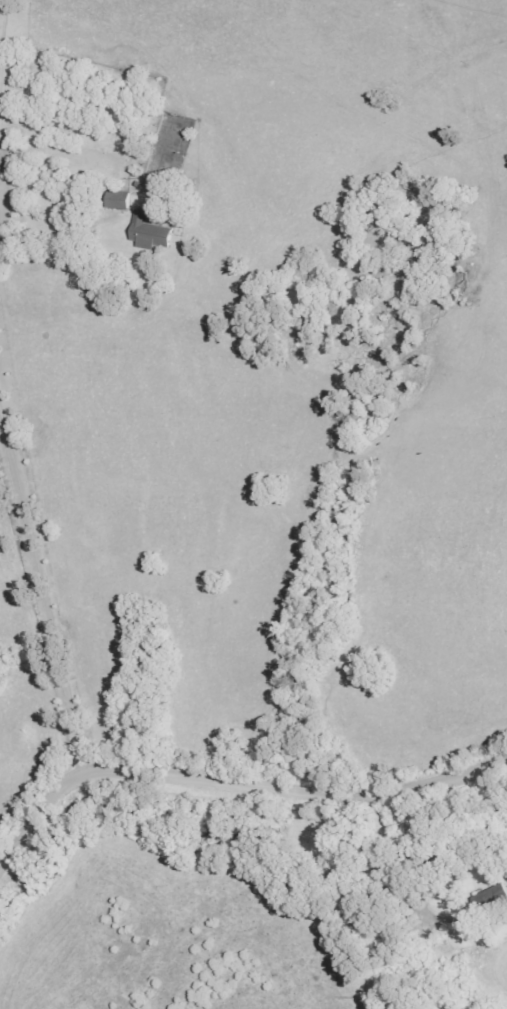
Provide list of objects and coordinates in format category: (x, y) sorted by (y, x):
road: (1, 117)
building: (120, 200)
building: (151, 232)
road: (41, 587)
road: (238, 785)

